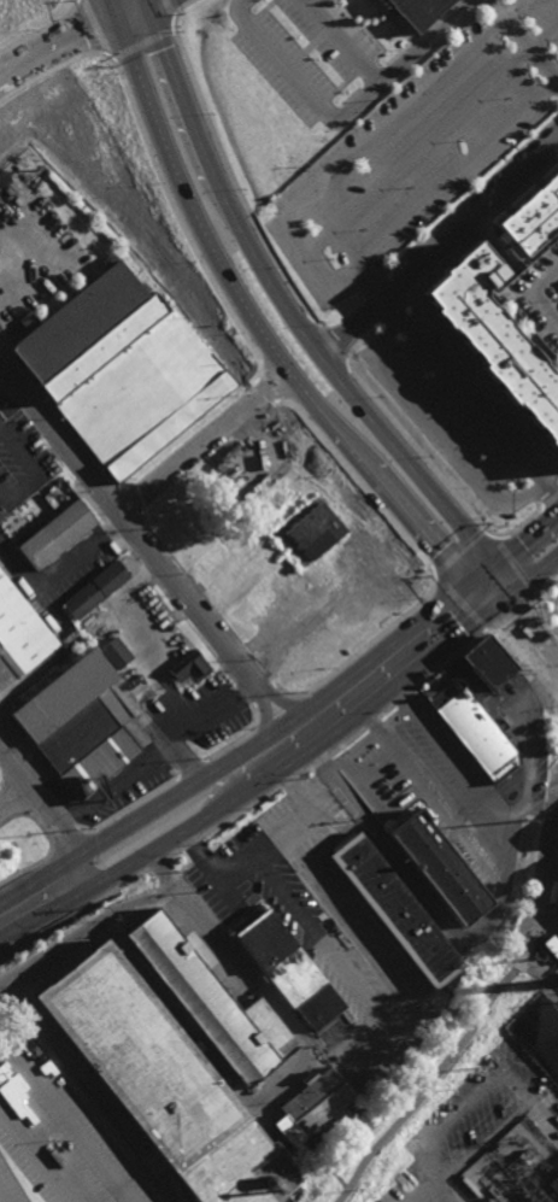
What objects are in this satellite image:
traffic signals: (147, 1)
road: (235, 5)
road: (504, 5)
building: (418, 11)
road: (512, 14)
traffic signals: (111, 17)
road: (41, 29)
road: (525, 30)
road: (72, 33)
road: (175, 33)
road: (521, 41)
road: (341, 43)
road: (428, 43)
road: (540, 46)
parking lot: (306, 51)
road: (551, 57)
road: (307, 87)
parking lot: (423, 152)
road: (523, 198)
road: (427, 199)
building: (534, 224)
road: (299, 234)
road: (482, 238)
road: (441, 250)
road: (440, 275)
road: (539, 291)
parking lot: (536, 299)
road: (294, 315)
road: (255, 328)
building: (499, 334)
building: (122, 369)
road: (447, 374)
road: (488, 375)
road: (58, 415)
road: (446, 426)
road: (202, 440)
parking lot: (23, 461)
road: (27, 476)
road: (550, 487)
road: (124, 499)
road: (550, 504)
road: (551, 520)
road: (522, 529)
building: (316, 530)
building: (58, 536)
road: (152, 549)
road: (135, 556)
parking lot: (80, 568)
road: (527, 570)
road: (65, 571)
road: (477, 571)
road: (517, 573)
road: (186, 576)
road: (546, 582)
building: (96, 590)
traffic signals: (495, 596)
road: (468, 612)
road: (509, 612)
road: (541, 622)
road: (527, 632)
building: (19, 635)
road: (374, 652)
building: (116, 653)
road: (509, 655)
road: (251, 657)
road: (445, 663)
building: (493, 666)
building: (190, 667)
road: (442, 681)
road: (280, 692)
road: (419, 692)
road: (540, 692)
road: (399, 699)
road: (492, 703)
road: (553, 709)
road: (384, 711)
road: (281, 722)
road: (369, 722)
building: (78, 725)
building: (480, 735)
road: (347, 740)
road: (530, 751)
road: (357, 756)
road: (321, 761)
road: (307, 769)
road: (255, 770)
road: (290, 780)
road: (181, 785)
road: (13, 795)
road: (430, 796)
road: (46, 808)
road: (240, 814)
road: (65, 815)
road: (36, 822)
power tower: (527, 822)
road: (293, 827)
road: (189, 844)
road: (69, 845)
road: (171, 854)
road: (184, 857)
road: (155, 862)
road: (153, 864)
road: (208, 867)
road: (186, 868)
building: (442, 868)
road: (24, 870)
building: (557, 889)
road: (161, 895)
road: (140, 903)
road: (545, 909)
building: (398, 911)
road: (71, 915)
road: (492, 925)
road: (363, 937)
road: (324, 945)
building: (552, 945)
road: (52, 957)
road: (67, 960)
road: (528, 961)
building: (292, 969)
road: (545, 977)
building: (212, 1003)
power tower: (478, 1069)
road: (509, 1073)
building: (157, 1077)
road: (274, 1079)
road: (429, 1083)
building: (312, 1106)
road: (69, 1120)
parking lot: (55, 1134)
road: (35, 1156)
power substation: (519, 1167)
road: (444, 1183)
parking lot: (415, 1185)
road: (431, 1191)
road: (1, 1198)

